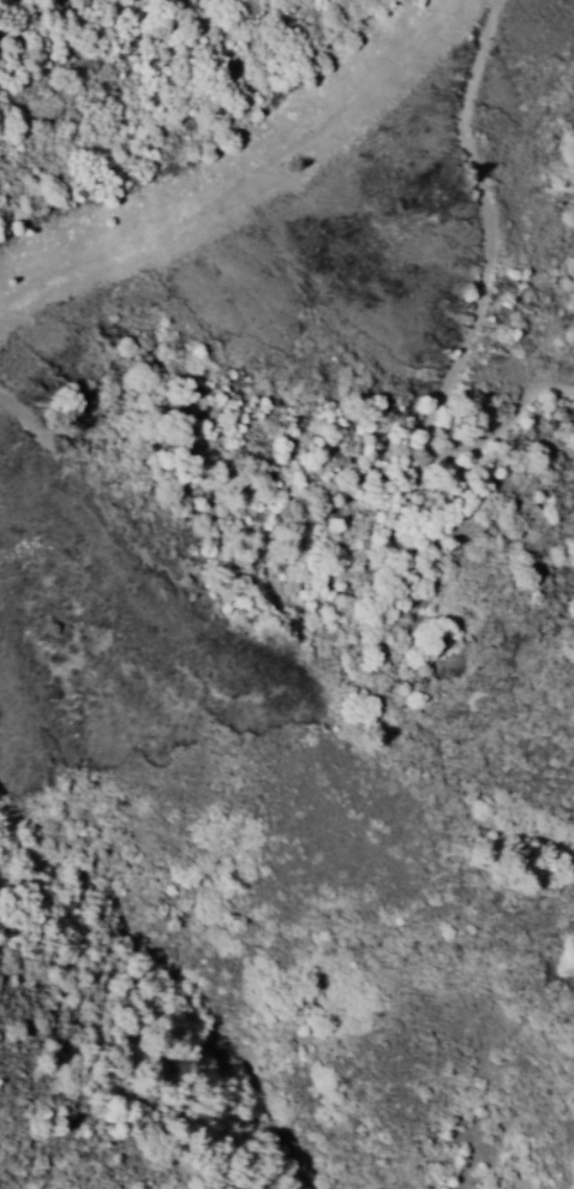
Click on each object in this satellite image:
road: (417, 53)
road: (183, 222)
road: (478, 276)

